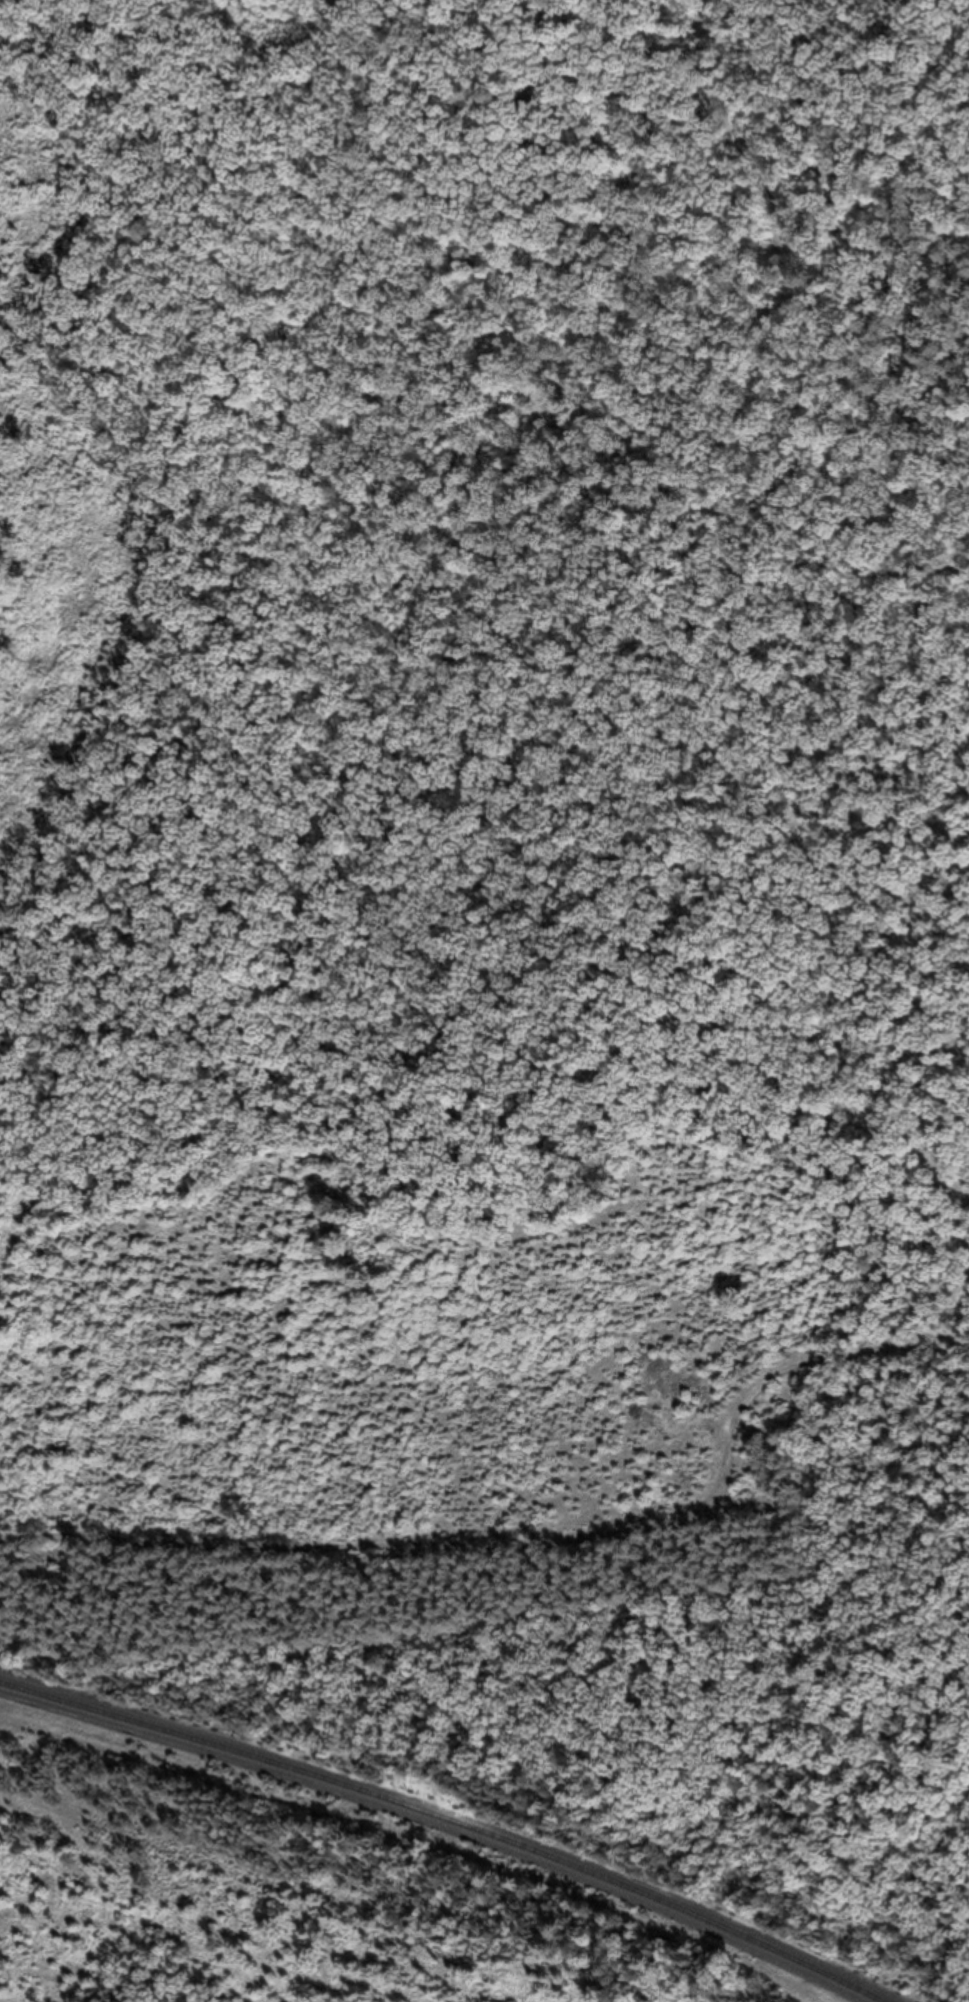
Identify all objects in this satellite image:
park: (485, 654)
railway: (446, 1820)

